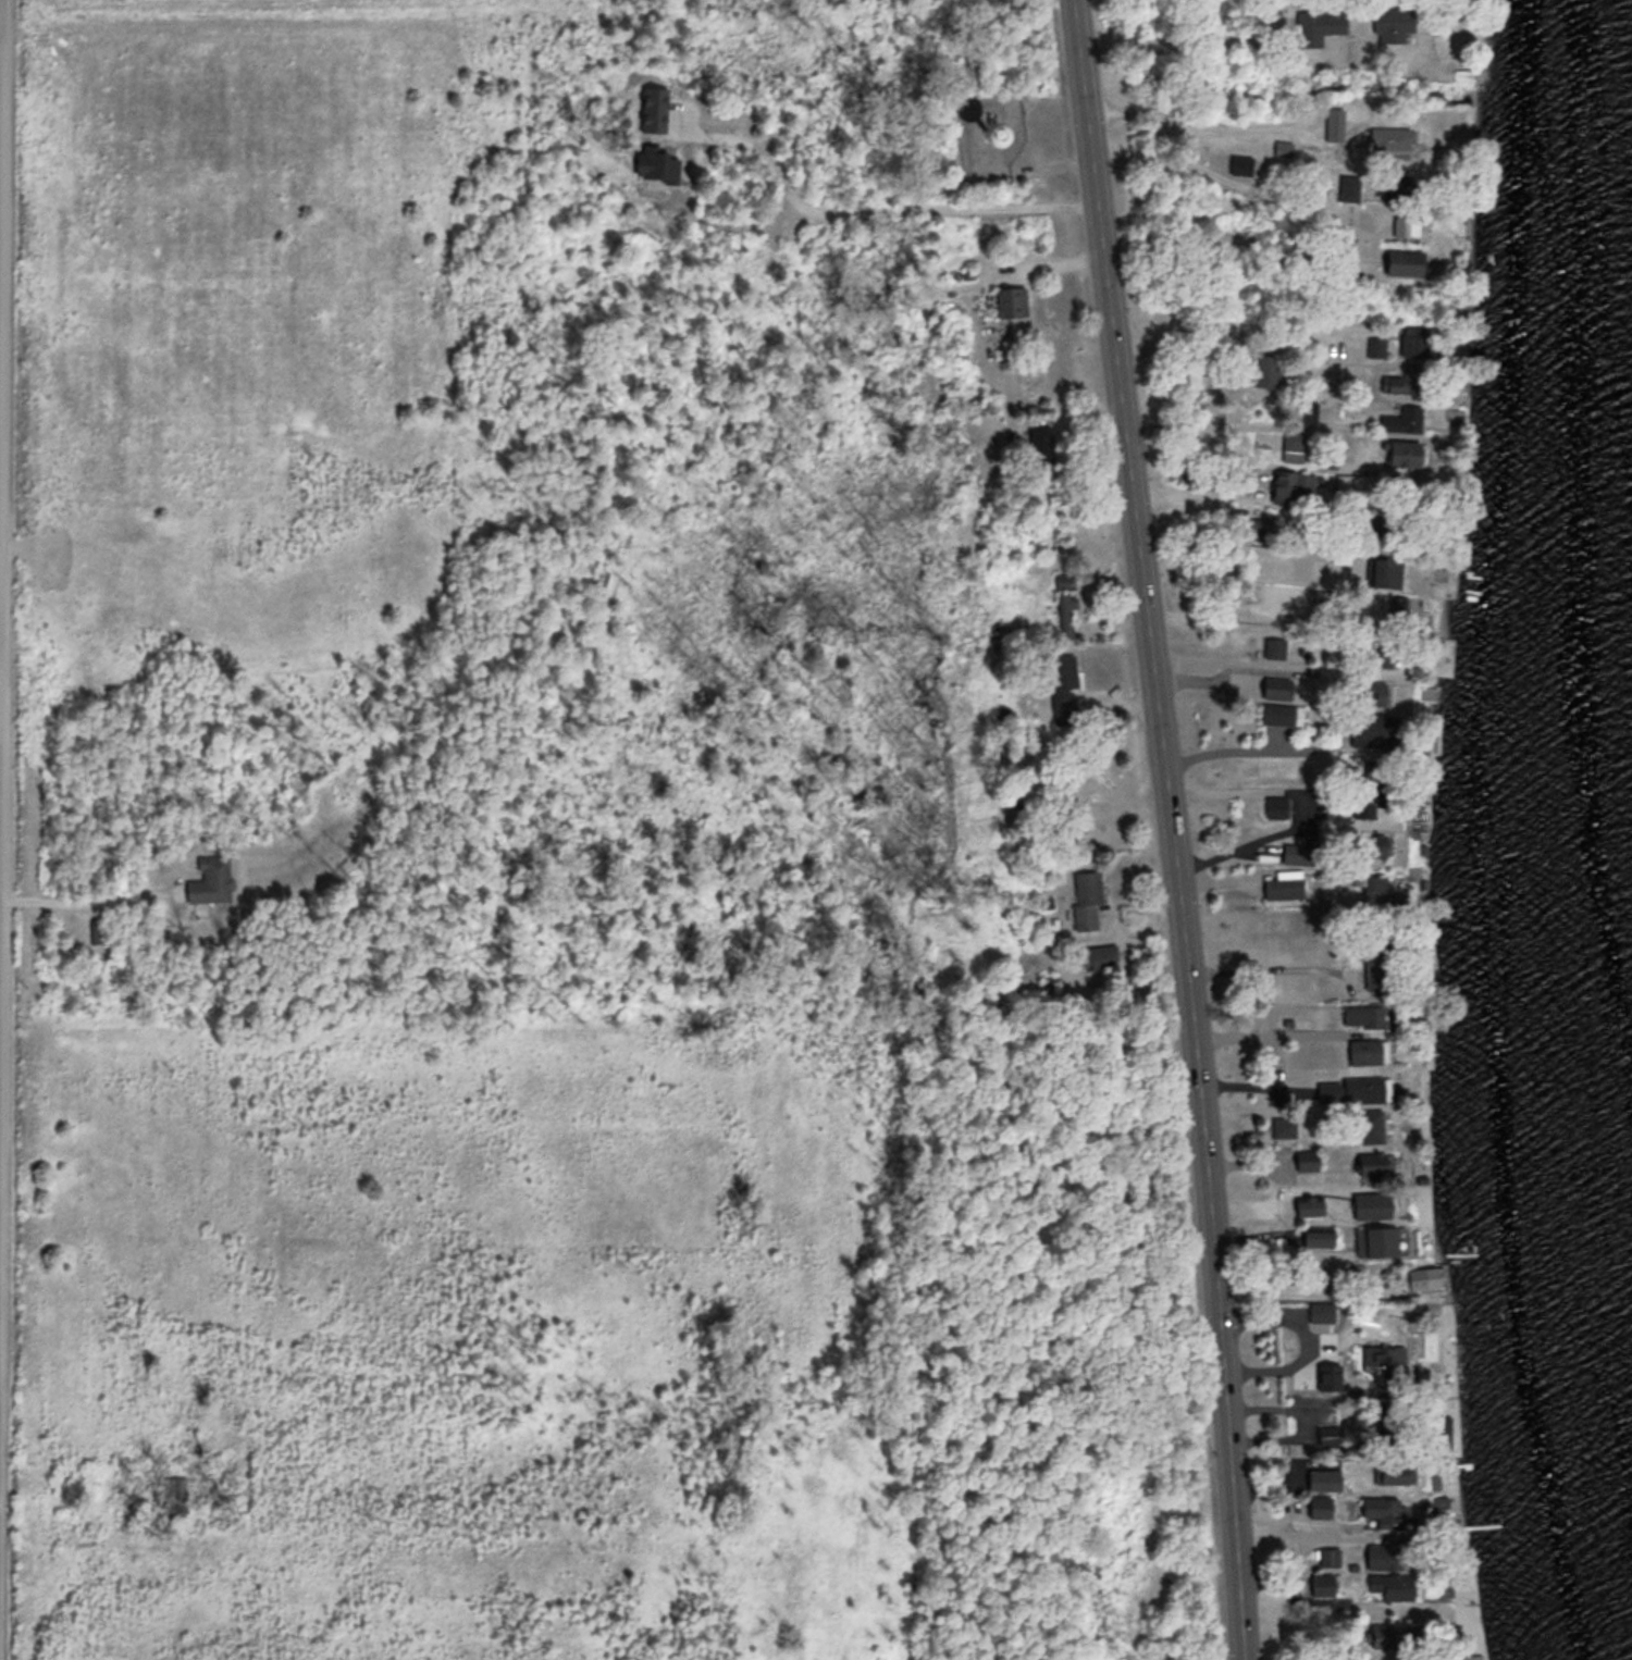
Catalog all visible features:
building: (1326, 20)
building: (1394, 22)
building: (655, 109)
building: (1334, 122)
road: (1190, 126)
building: (997, 135)
water tower: (993, 137)
building: (1392, 137)
building: (1283, 147)
road: (1178, 160)
building: (658, 163)
building: (1244, 164)
building: (1347, 186)
road: (883, 209)
road: (1, 234)
building: (1406, 260)
building: (1007, 300)
building: (1415, 339)
building: (1376, 346)
building: (1265, 370)
building: (1405, 380)
building: (1404, 419)
building: (1040, 444)
building: (1293, 445)
building: (1401, 453)
building: (1358, 484)
building: (1293, 485)
building: (1382, 568)
building: (1065, 599)
building: (1275, 646)
building: (1378, 649)
building: (1443, 655)
building: (1063, 684)
building: (1277, 685)
building: (1377, 689)
building: (1282, 713)
building: (1371, 796)
building: (1275, 804)
building: (1016, 812)
road: (1173, 828)
building: (1302, 852)
building: (211, 878)
building: (1284, 883)
building: (1375, 887)
building: (1086, 896)
road: (83, 897)
building: (1098, 955)
building: (1369, 964)
building: (1016, 999)
building: (1363, 1014)
building: (1369, 1049)
building: (1352, 1088)
building: (1370, 1123)
building: (1283, 1125)
building: (1306, 1159)
building: (1373, 1163)
building: (1310, 1203)
building: (1429, 1209)
building: (1319, 1236)
building: (1385, 1239)
building: (1425, 1277)
building: (1322, 1310)
building: (1426, 1345)
building: (1382, 1420)
road: (1302, 1421)
building: (1328, 1434)
building: (1321, 1503)
building: (1390, 1510)
building: (1386, 1551)
building: (1328, 1554)
building: (1323, 1583)
building: (1392, 1583)
building: (1392, 1633)

